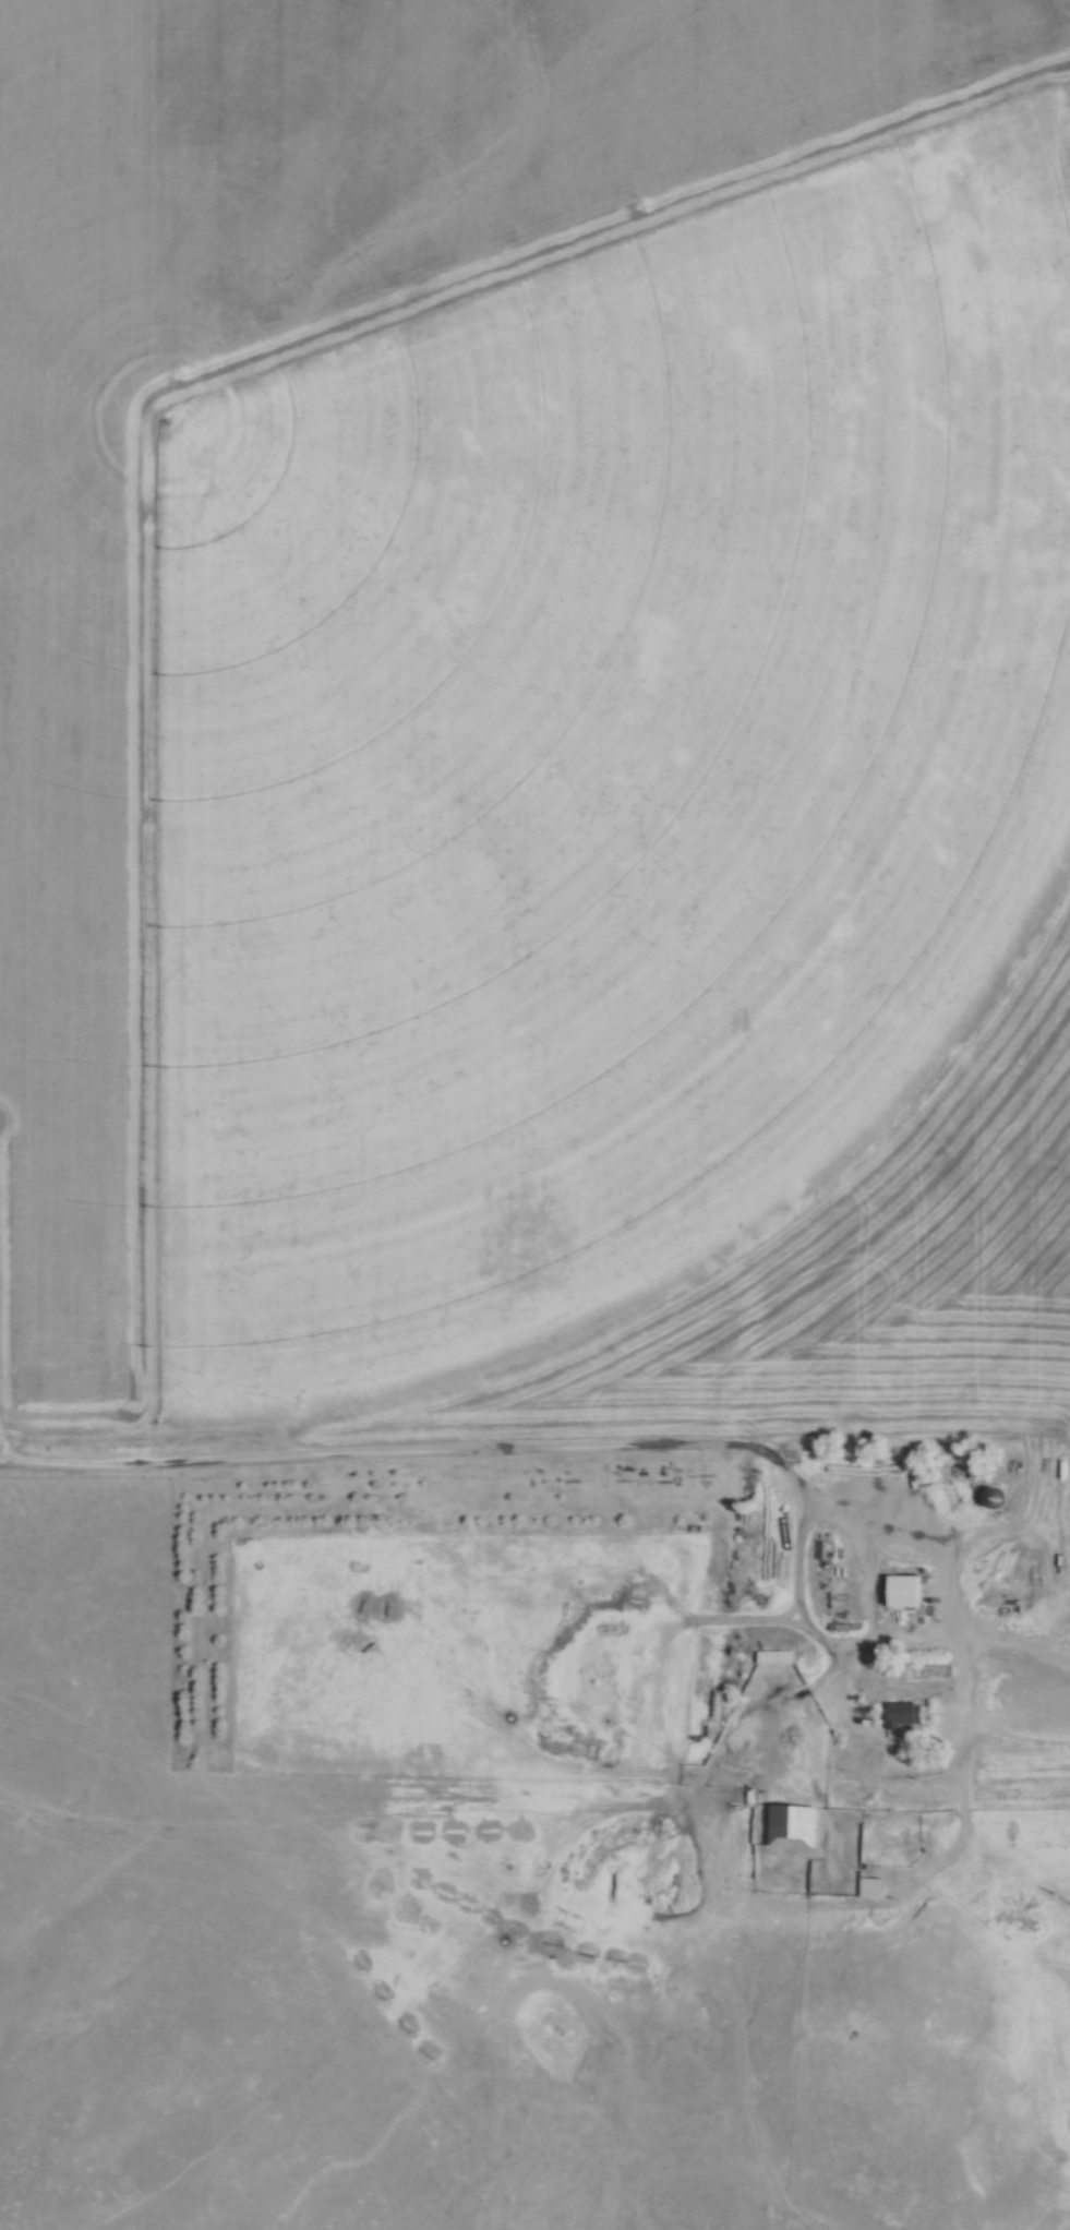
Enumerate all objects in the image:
building: (995, 1497)
building: (904, 1591)
building: (778, 1656)
building: (906, 1714)
road: (1011, 1735)
building: (793, 1824)
building: (873, 1886)

